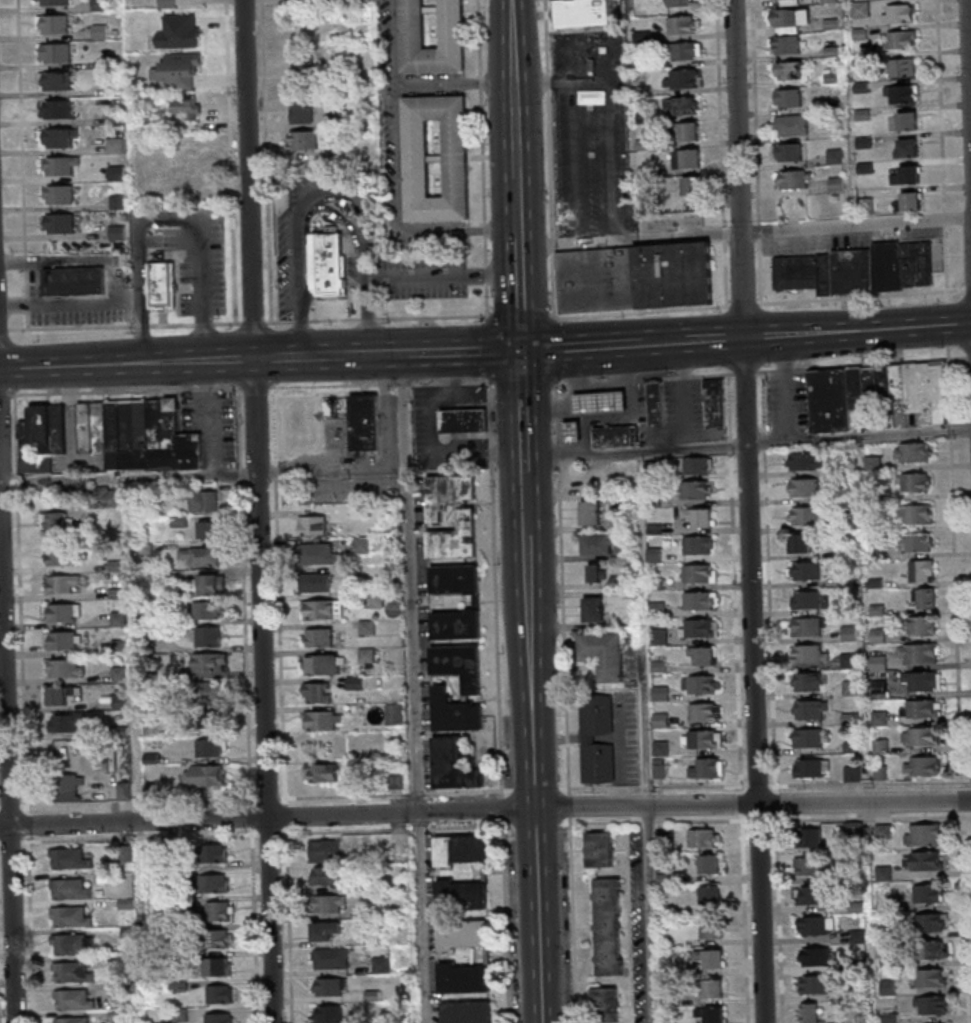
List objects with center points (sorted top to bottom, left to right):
building: (774, 0)
building: (826, 1)
building: (51, 2)
building: (164, 3)
building: (677, 4)
building: (97, 5)
building: (858, 10)
building: (581, 14)
building: (895, 15)
building: (782, 18)
building: (50, 23)
building: (450, 23)
building: (828, 25)
building: (678, 27)
building: (176, 31)
building: (96, 32)
building: (857, 34)
road: (510, 38)
building: (639, 38)
building: (897, 41)
road: (391, 44)
building: (784, 46)
building: (829, 51)
building: (53, 52)
building: (679, 52)
building: (106, 61)
building: (857, 61)
building: (301, 64)
road: (968, 64)
building: (899, 69)
building: (175, 70)
building: (786, 72)
building: (331, 73)
building: (829, 78)
building: (52, 80)
building: (679, 80)
building: (111, 87)
building: (858, 87)
building: (639, 92)
building: (900, 95)
building: (785, 99)
road: (942, 105)
building: (183, 107)
building: (299, 107)
building: (678, 107)
building: (830, 107)
building: (55, 109)
road: (610, 111)
road: (755, 111)
road: (719, 112)
building: (859, 115)
building: (112, 118)
building: (333, 119)
building: (641, 119)
building: (900, 123)
road: (513, 124)
building: (789, 127)
building: (684, 132)
parking lot: (588, 133)
building: (54, 137)
building: (301, 140)
building: (861, 143)
building: (640, 144)
building: (112, 145)
building: (903, 150)
building: (786, 154)
building: (832, 157)
building: (413, 158)
road: (481, 158)
road: (546, 160)
building: (684, 160)
road: (396, 161)
road: (262, 162)
road: (227, 163)
building: (57, 165)
road: (18, 166)
building: (863, 169)
building: (642, 172)
building: (113, 173)
building: (903, 178)
road: (249, 179)
building: (791, 181)
building: (833, 185)
building: (689, 188)
building: (57, 195)
building: (913, 201)
building: (115, 202)
road: (520, 203)
building: (870, 205)
road: (344, 213)
road: (947, 217)
building: (63, 223)
road: (745, 230)
road: (759, 230)
road: (723, 232)
building: (120, 233)
road: (367, 245)
road: (299, 250)
road: (949, 258)
parking lot: (286, 259)
building: (331, 262)
building: (920, 263)
road: (140, 264)
building: (890, 264)
road: (34, 269)
road: (760, 270)
building: (856, 270)
building: (799, 272)
building: (673, 273)
road: (724, 273)
building: (828, 274)
road: (444, 276)
parking lot: (427, 277)
building: (594, 279)
building: (77, 281)
building: (165, 284)
road: (203, 289)
road: (967, 289)
road: (522, 292)
road: (860, 296)
road: (71, 304)
road: (743, 304)
road: (639, 312)
road: (520, 316)
road: (379, 318)
road: (255, 323)
road: (127, 326)
road: (5, 330)
road: (807, 334)
road: (370, 337)
road: (583, 347)
road: (556, 348)
traffic signals: (524, 349)
road: (475, 350)
road: (386, 354)
road: (300, 357)
road: (961, 358)
road: (233, 360)
road: (176, 362)
road: (72, 365)
road: (510, 381)
building: (902, 383)
road: (384, 384)
road: (258, 387)
building: (859, 387)
road: (130, 391)
building: (930, 391)
road: (8, 395)
building: (888, 396)
building: (874, 398)
building: (834, 399)
building: (604, 401)
building: (659, 402)
building: (718, 402)
building: (331, 407)
road: (525, 411)
road: (212, 419)
building: (466, 419)
building: (368, 422)
building: (130, 424)
building: (144, 424)
building: (116, 425)
building: (95, 427)
building: (576, 431)
building: (619, 436)
building: (44, 437)
building: (173, 437)
road: (434, 441)
road: (749, 443)
building: (912, 451)
building: (805, 461)
building: (874, 463)
building: (698, 465)
road: (333, 473)
building: (598, 476)
road: (131, 479)
building: (916, 482)
building: (804, 488)
building: (696, 489)
building: (116, 497)
building: (147, 497)
building: (207, 501)
building: (470, 511)
road: (748, 511)
building: (591, 512)
building: (916, 514)
building: (699, 516)
building: (806, 516)
building: (183, 521)
building: (58, 524)
building: (316, 525)
building: (212, 529)
building: (800, 542)
building: (916, 543)
building: (602, 544)
building: (698, 544)
building: (365, 545)
building: (148, 549)
building: (321, 553)
building: (205, 556)
building: (63, 557)
building: (119, 566)
building: (804, 569)
building: (922, 571)
building: (594, 572)
building: (699, 573)
building: (169, 578)
building: (318, 582)
building: (67, 583)
building: (215, 584)
road: (562, 586)
road: (959, 587)
road: (498, 590)
building: (121, 593)
road: (282, 596)
road: (247, 597)
building: (924, 598)
building: (378, 599)
building: (806, 599)
building: (699, 600)
building: (476, 602)
road: (24, 604)
building: (209, 609)
building: (326, 609)
building: (594, 609)
building: (67, 612)
building: (122, 619)
building: (154, 620)
building: (921, 625)
building: (809, 626)
building: (370, 627)
building: (699, 628)
building: (849, 632)
building: (878, 635)
building: (658, 636)
building: (212, 637)
building: (321, 638)
building: (67, 641)
building: (123, 646)
building: (150, 647)
building: (604, 653)
building: (810, 653)
building: (370, 654)
building: (703, 654)
building: (918, 654)
building: (213, 662)
building: (879, 662)
building: (323, 664)
building: (462, 664)
building: (69, 668)
building: (124, 674)
building: (151, 674)
building: (807, 681)
building: (359, 682)
building: (922, 682)
building: (700, 684)
road: (415, 688)
building: (879, 689)
road: (266, 691)
building: (212, 692)
building: (321, 692)
building: (61, 695)
building: (125, 702)
building: (920, 708)
road: (6, 709)
building: (811, 709)
building: (705, 711)
building: (458, 712)
building: (398, 714)
building: (596, 714)
building: (880, 717)
building: (214, 719)
building: (326, 721)
building: (71, 722)
building: (125, 730)
road: (650, 736)
building: (921, 736)
building: (812, 737)
building: (702, 738)
building: (881, 745)
building: (215, 747)
road: (537, 747)
building: (155, 758)
building: (659, 759)
building: (598, 762)
building: (457, 765)
building: (922, 765)
building: (707, 767)
building: (811, 768)
building: (326, 772)
building: (853, 772)
building: (211, 775)
building: (399, 780)
building: (69, 787)
building: (129, 790)
building: (155, 790)
road: (392, 794)
road: (269, 799)
road: (206, 801)
road: (505, 803)
road: (12, 805)
road: (26, 805)
road: (1, 806)
road: (573, 806)
road: (485, 809)
road: (154, 810)
road: (289, 811)
road: (254, 817)
road: (30, 820)
building: (854, 829)
building: (884, 831)
road: (266, 834)
building: (925, 835)
road: (145, 837)
building: (704, 837)
building: (809, 837)
road: (14, 841)
building: (464, 849)
building: (603, 849)
building: (330, 852)
building: (126, 853)
building: (215, 853)
building: (69, 858)
building: (923, 860)
building: (710, 863)
building: (809, 866)
building: (334, 876)
building: (213, 883)
building: (70, 888)
building: (929, 893)
building: (465, 895)
building: (813, 895)
road: (968, 895)
building: (126, 902)
building: (332, 903)
building: (219, 910)
building: (372, 910)
building: (712, 912)
building: (71, 915)
road: (575, 921)
building: (931, 922)
road: (256, 925)
building: (611, 926)
parking lot: (641, 926)
building: (815, 926)
building: (328, 930)
road: (31, 932)
building: (466, 933)
building: (374, 936)
building: (219, 938)
building: (73, 943)
building: (932, 950)
building: (816, 957)
building: (334, 958)
building: (713, 959)
building: (386, 965)
building: (216, 966)
building: (72, 971)
building: (467, 977)
building: (931, 979)
building: (816, 984)
building: (333, 986)
building: (713, 989)
building: (220, 993)
building: (376, 996)
building: (74, 999)
building: (608, 1005)
building: (932, 1006)
building: (471, 1011)
building: (810, 1012)
building: (179, 1014)
building: (332, 1014)
building: (711, 1014)
building: (117, 1015)
building: (219, 1018)
building: (72, 1019)

